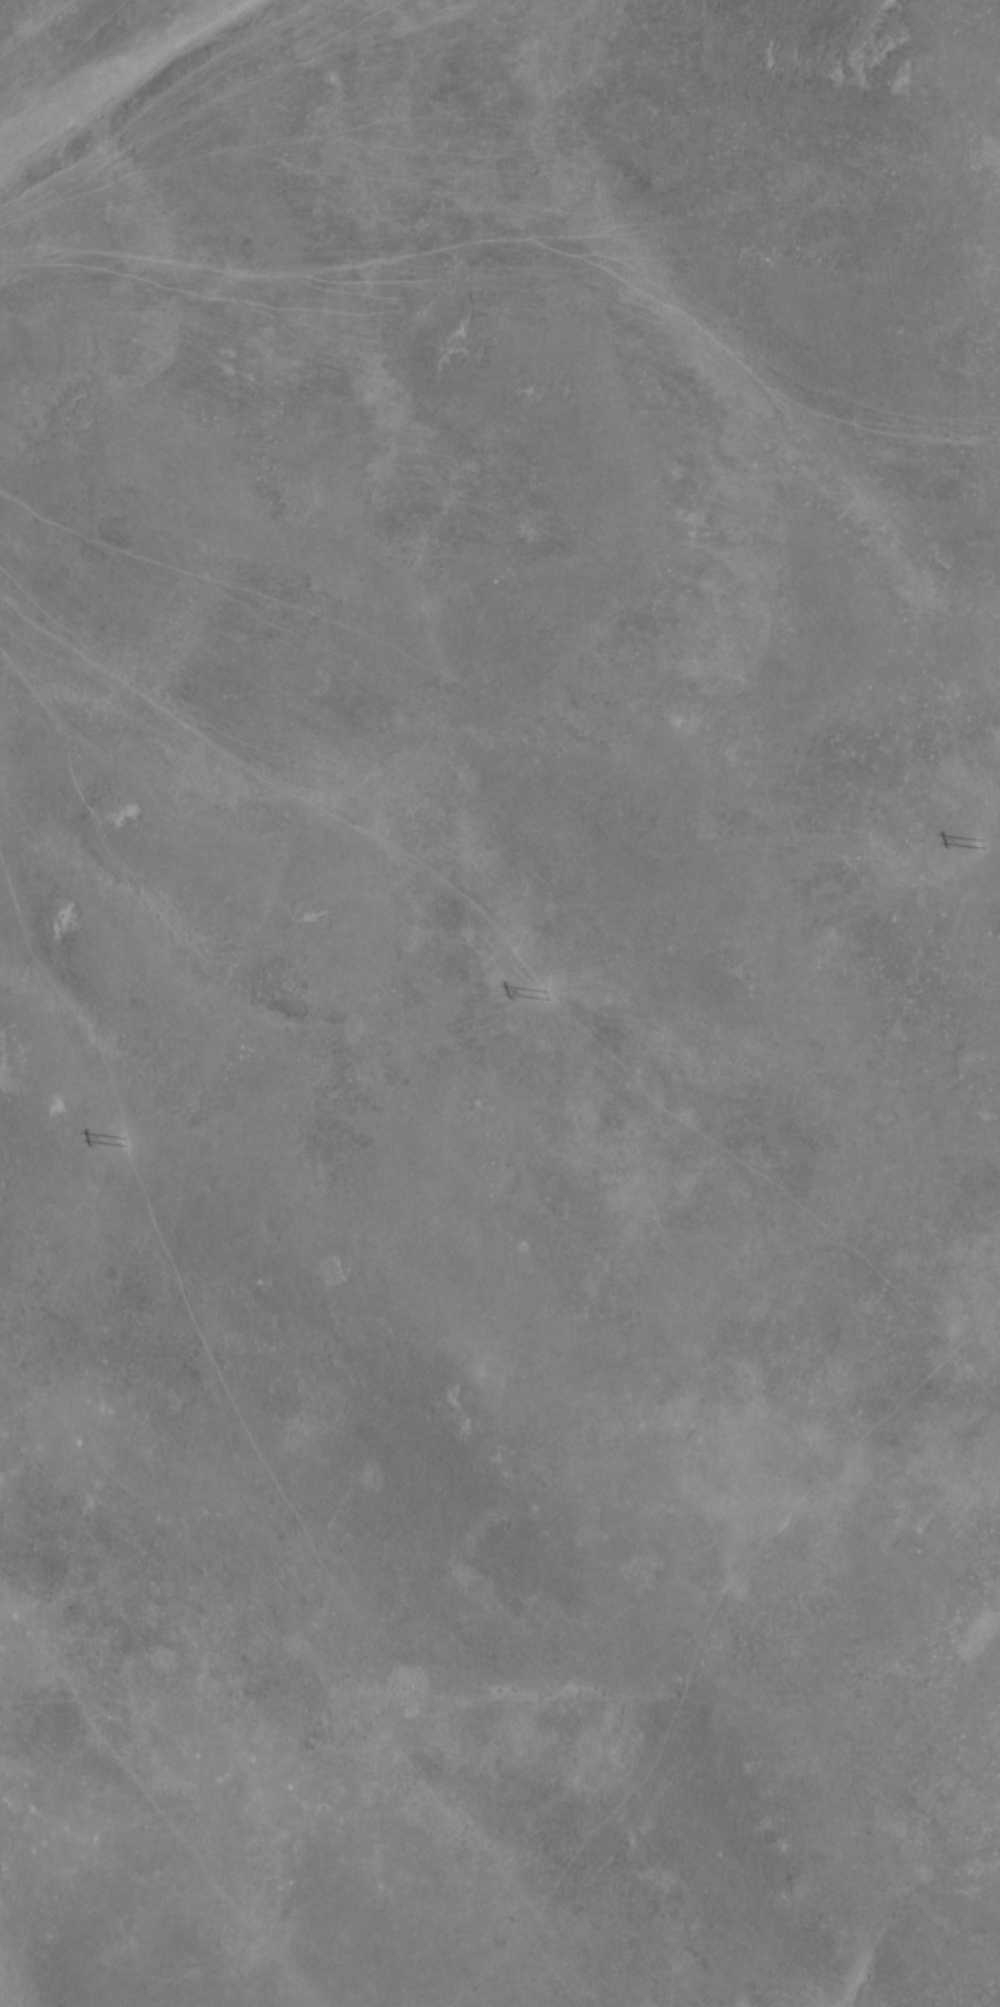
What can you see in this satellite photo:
power tower: (978, 841)
power tower: (545, 993)
power tower: (123, 1140)

